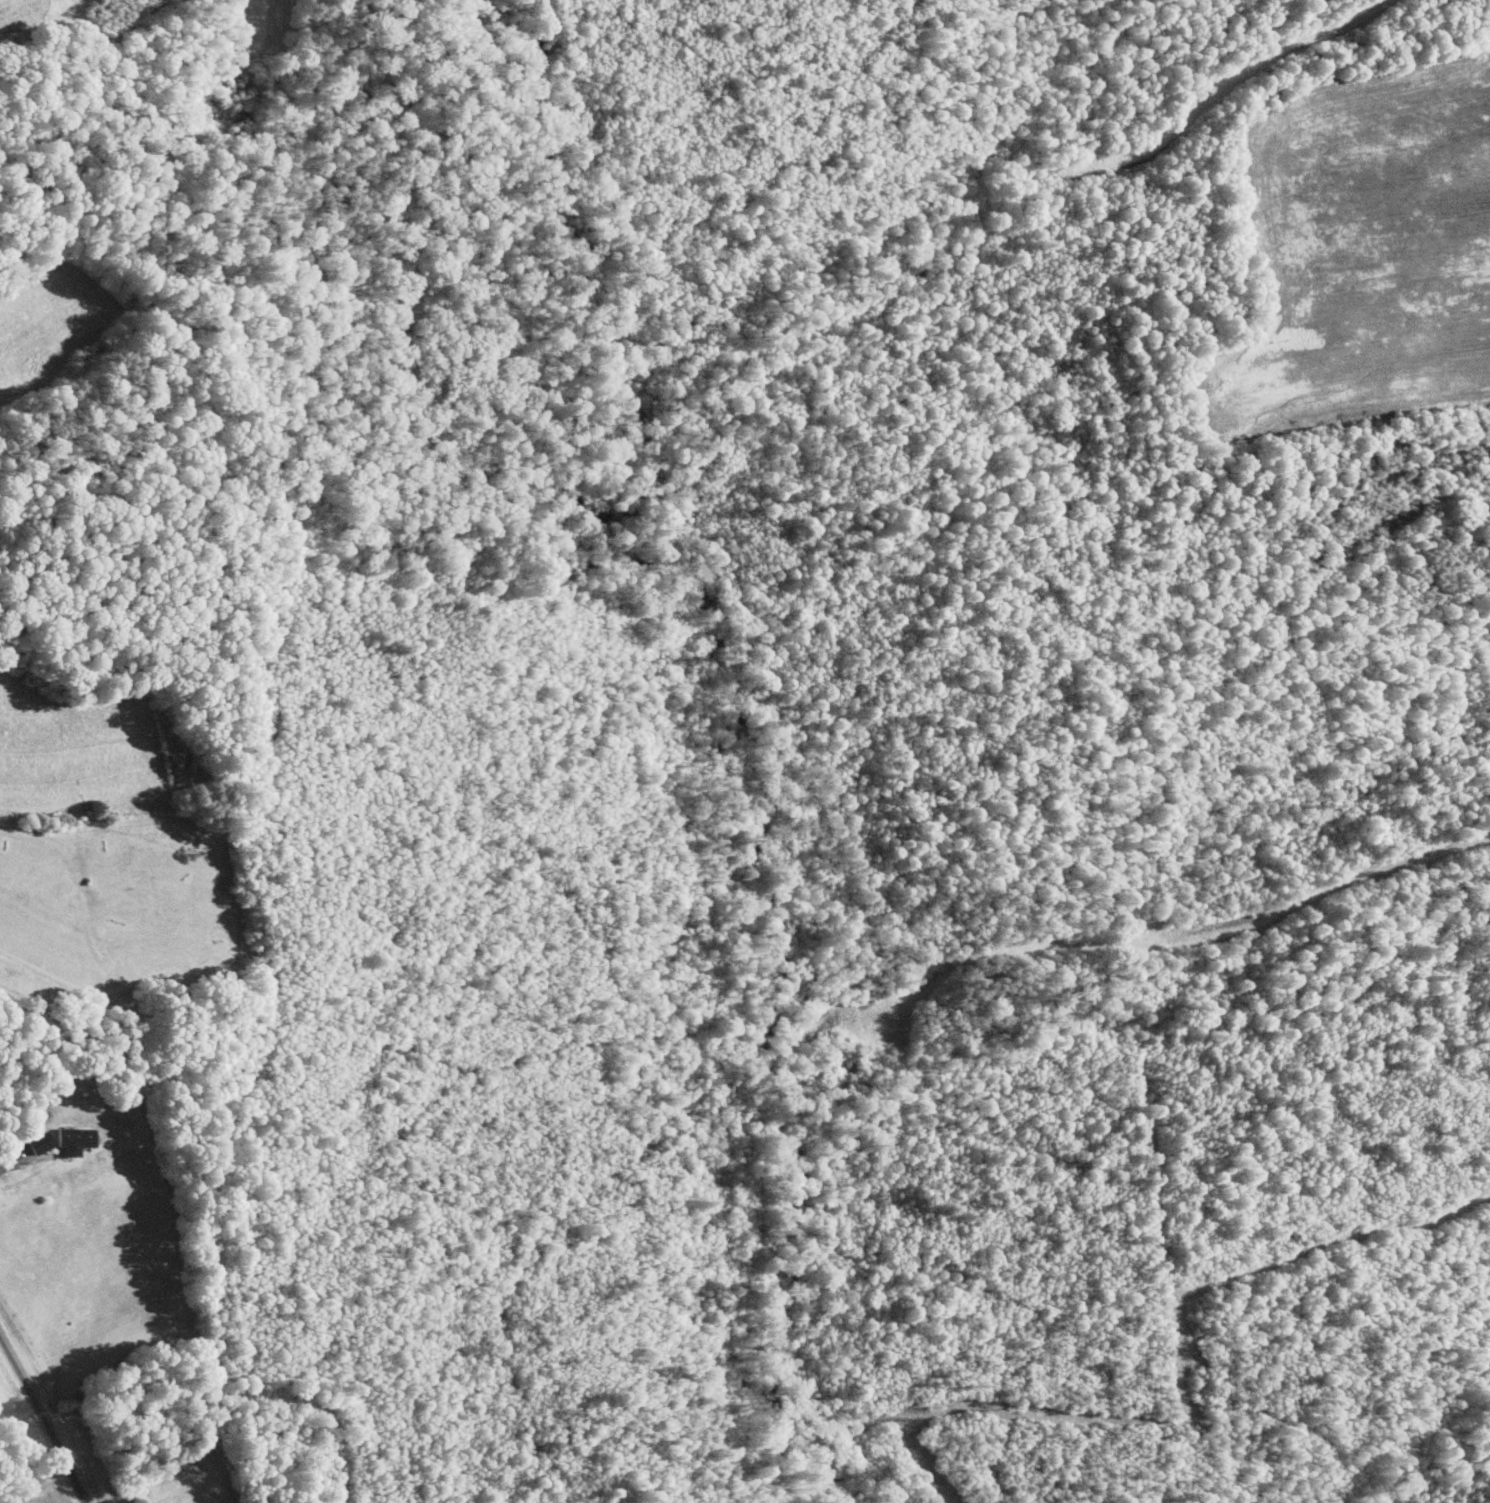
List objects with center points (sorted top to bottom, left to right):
building: (63, 1133)
building: (28, 1136)
road: (10, 1161)
road: (44, 1420)

